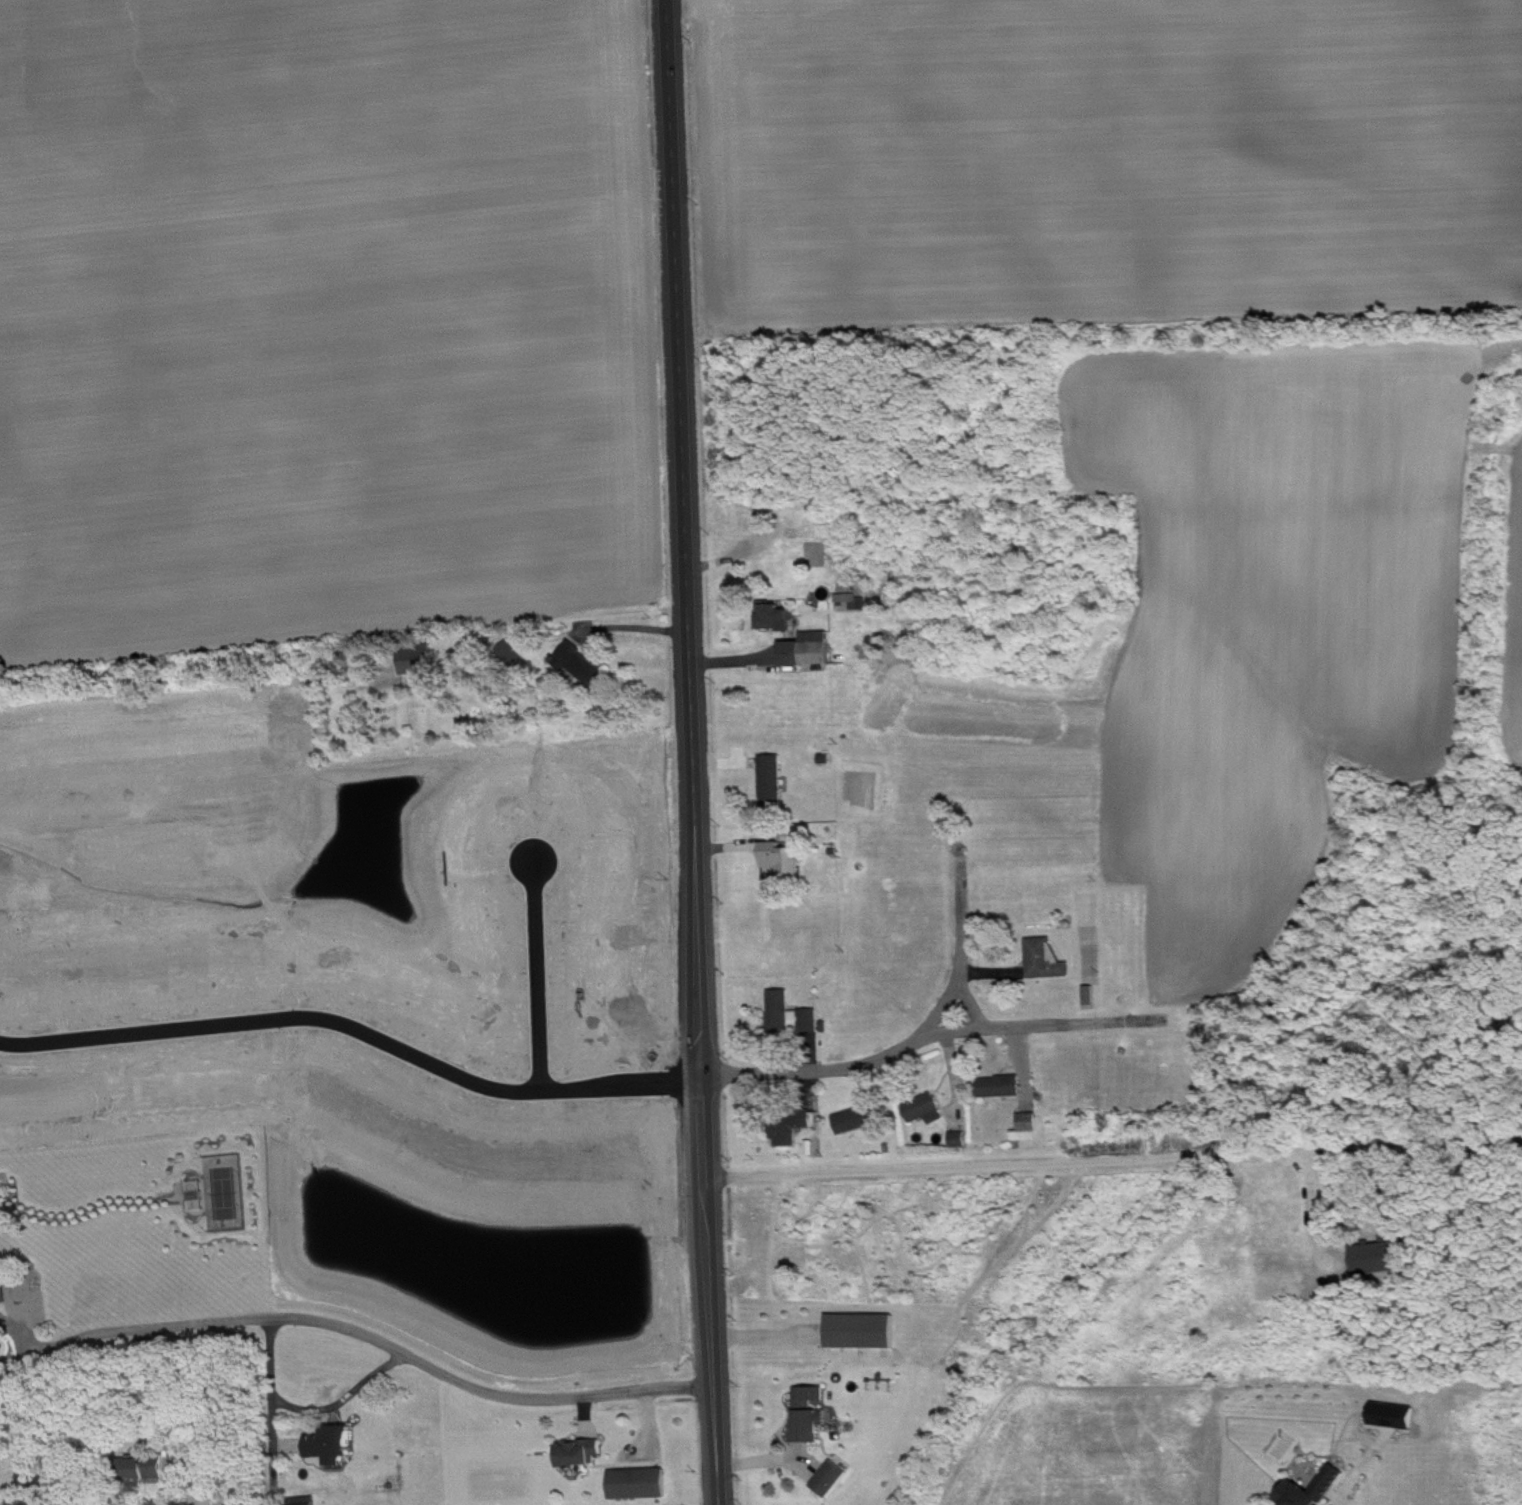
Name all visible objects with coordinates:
building: (855, 603)
building: (778, 617)
building: (812, 650)
building: (514, 655)
building: (420, 660)
building: (583, 665)
road: (696, 752)
building: (775, 781)
building: (787, 860)
building: (1049, 960)
road: (536, 976)
building: (793, 1015)
road: (1119, 1023)
road: (359, 1028)
road: (993, 1028)
road: (927, 1034)
building: (1004, 1087)
building: (928, 1110)
building: (861, 1120)
building: (794, 1127)
building: (1032, 1128)
building: (963, 1140)
road: (1116, 1158)
road: (1318, 1212)
building: (1379, 1257)
building: (5, 1289)
building: (865, 1332)
road: (359, 1334)
road: (20, 1335)
road: (162, 1387)
road: (347, 1401)
road: (278, 1406)
building: (813, 1415)
building: (1394, 1418)
building: (335, 1445)
building: (583, 1453)
road: (1366, 1468)
building: (150, 1469)
building: (835, 1479)
building: (643, 1484)
building: (1331, 1485)
building: (225, 1501)
building: (310, 1501)

